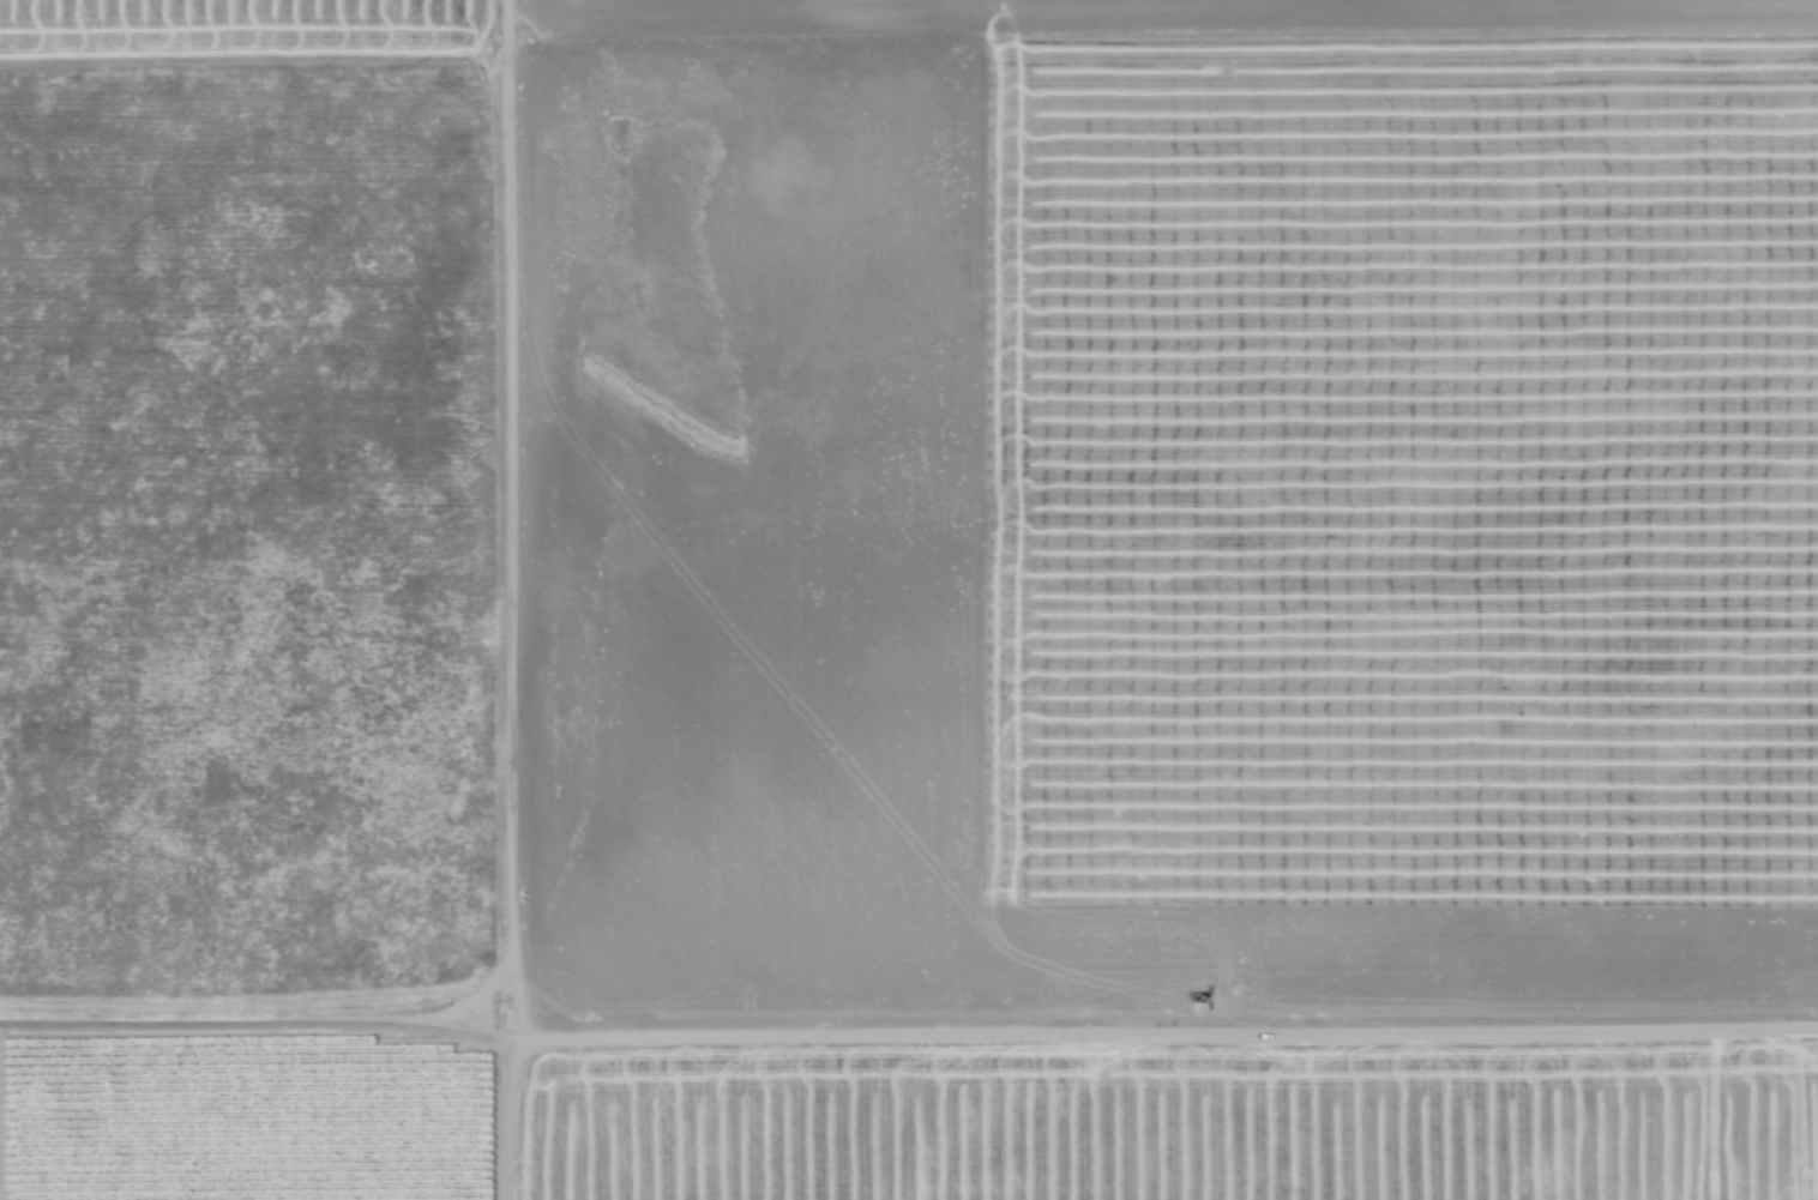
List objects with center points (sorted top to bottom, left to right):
road: (496, 599)
road: (908, 1026)

